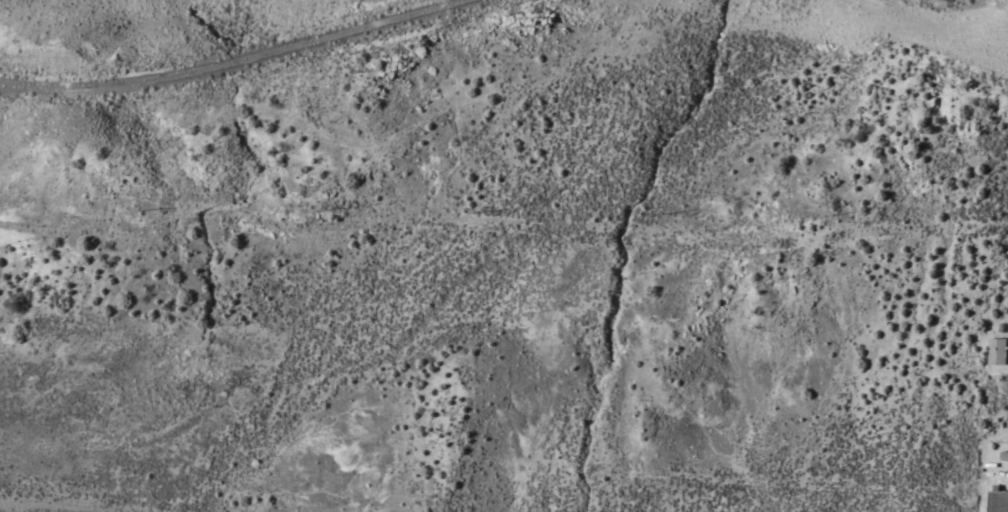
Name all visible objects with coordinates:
railway: (908, 25)
railway: (235, 61)
building: (997, 352)

